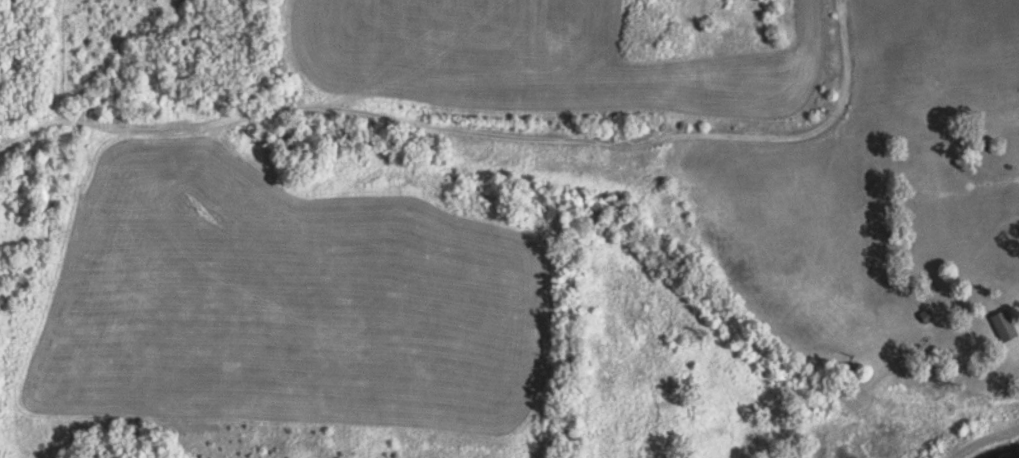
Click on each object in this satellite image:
road: (476, 128)

